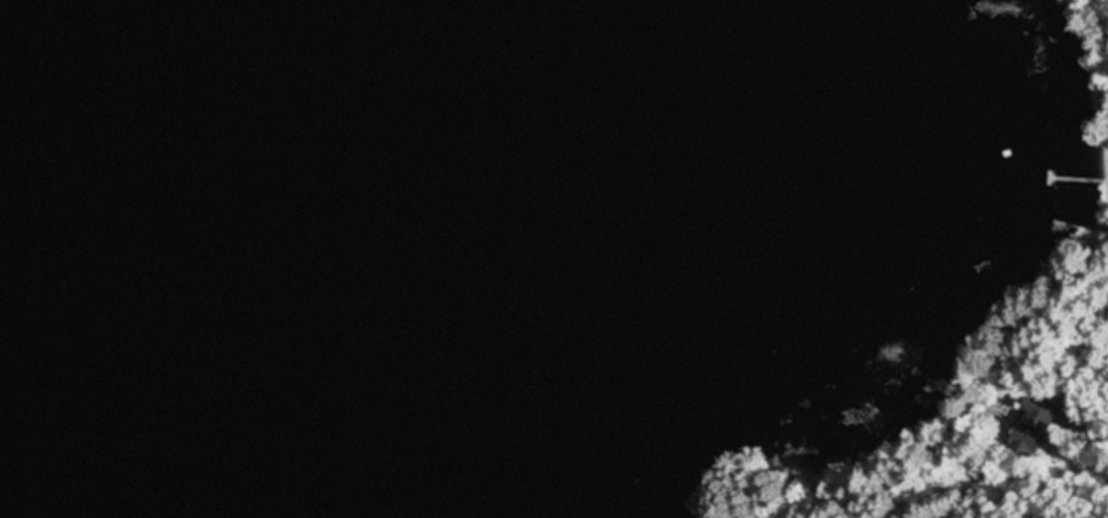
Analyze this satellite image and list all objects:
road: (1038, 384)
building: (1031, 429)

